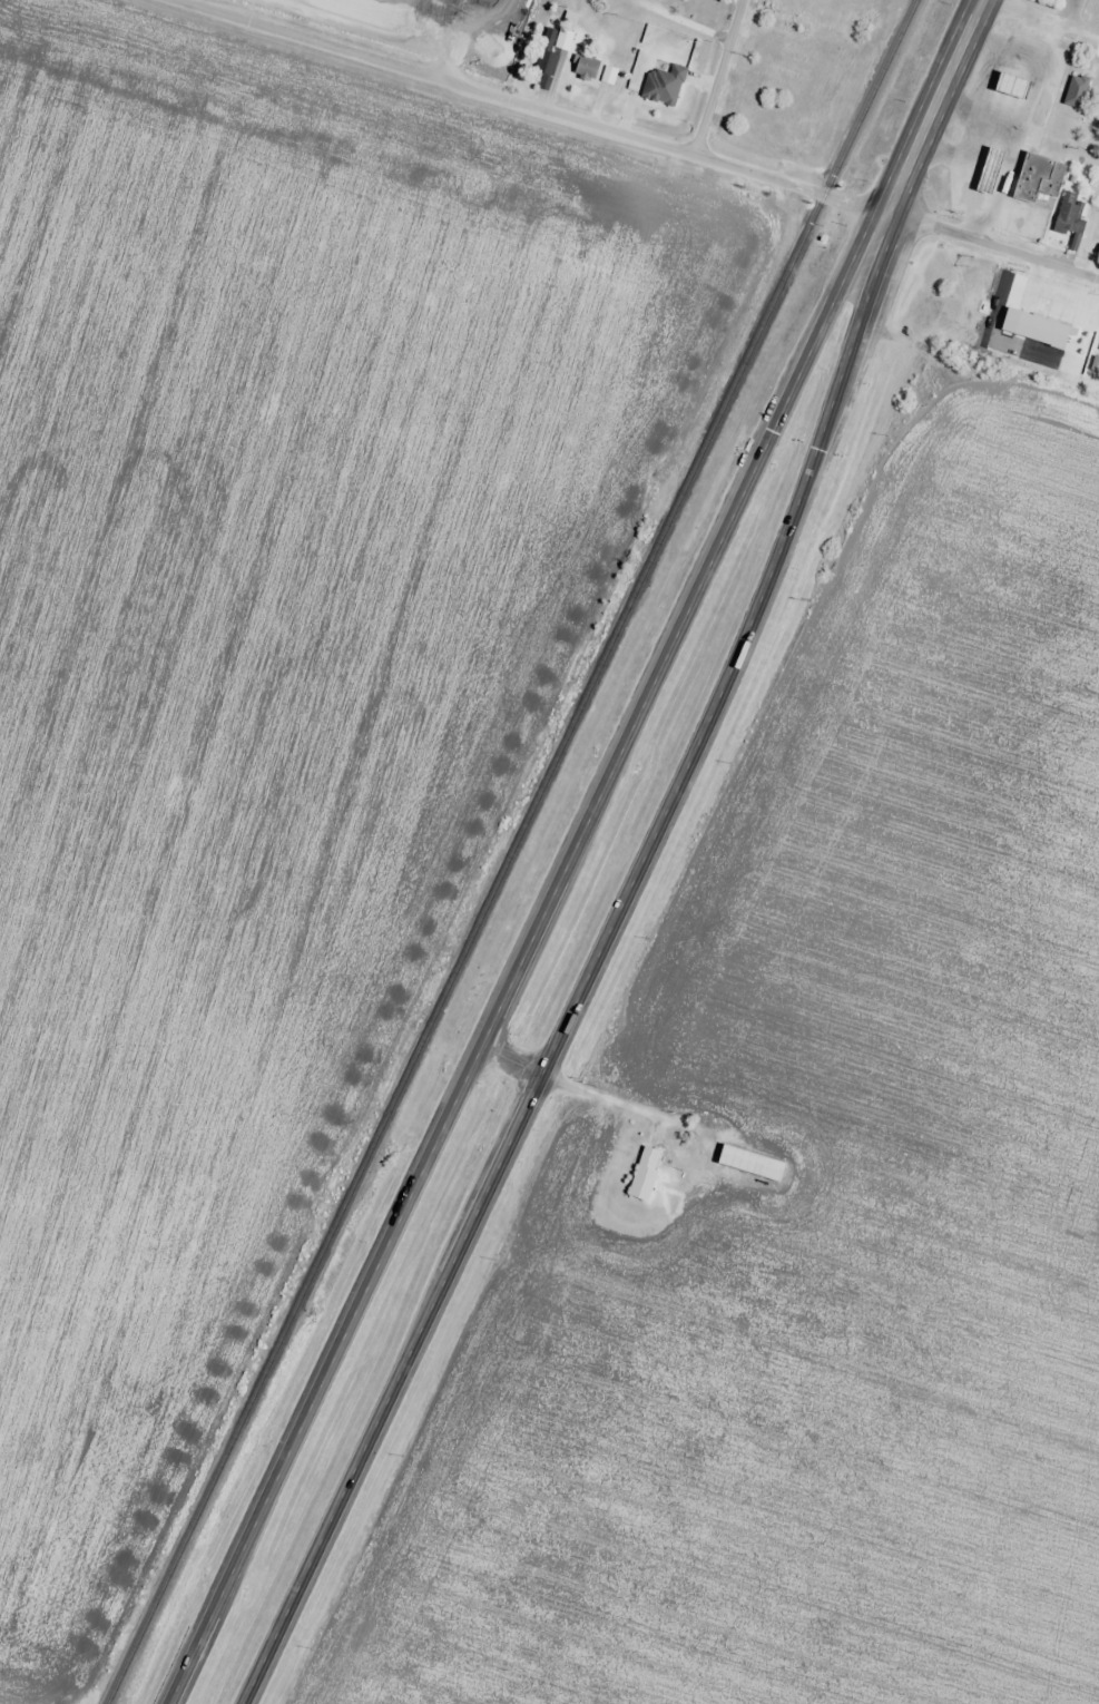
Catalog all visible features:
road: (1046, 17)
building: (550, 55)
road: (717, 78)
building: (1015, 87)
road: (527, 106)
road: (925, 124)
building: (992, 172)
road: (992, 248)
building: (1098, 351)
crop: (266, 676)
railway: (511, 852)
road: (519, 973)
road: (587, 986)
road: (516, 1061)
building: (747, 1163)
building: (642, 1173)
crop: (825, 1188)

